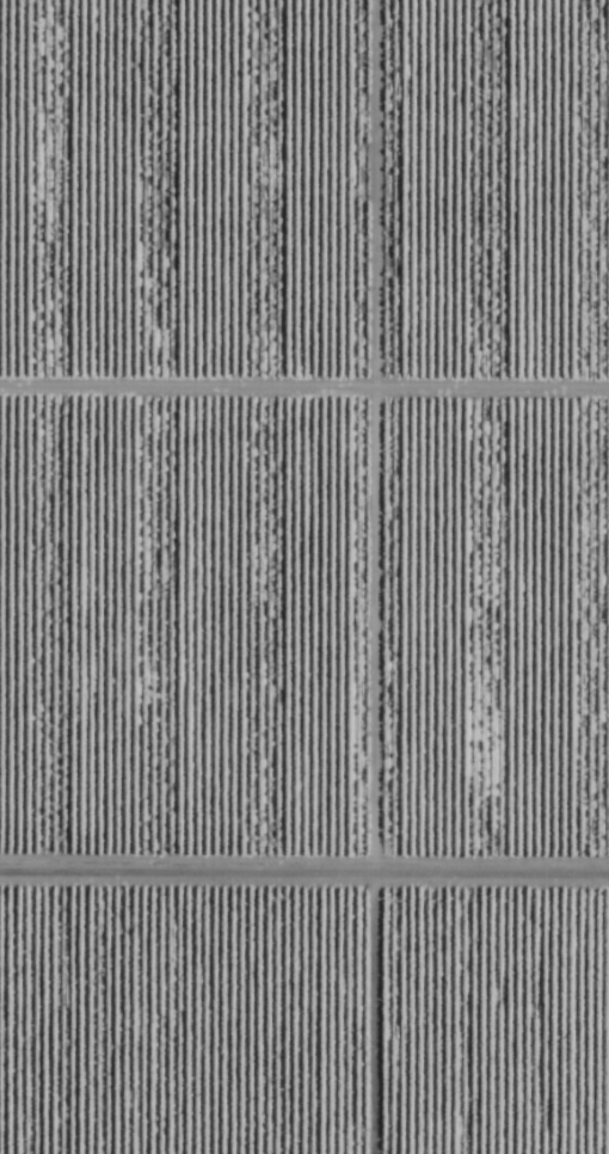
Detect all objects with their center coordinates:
road: (306, 356)
crop: (304, 577)

